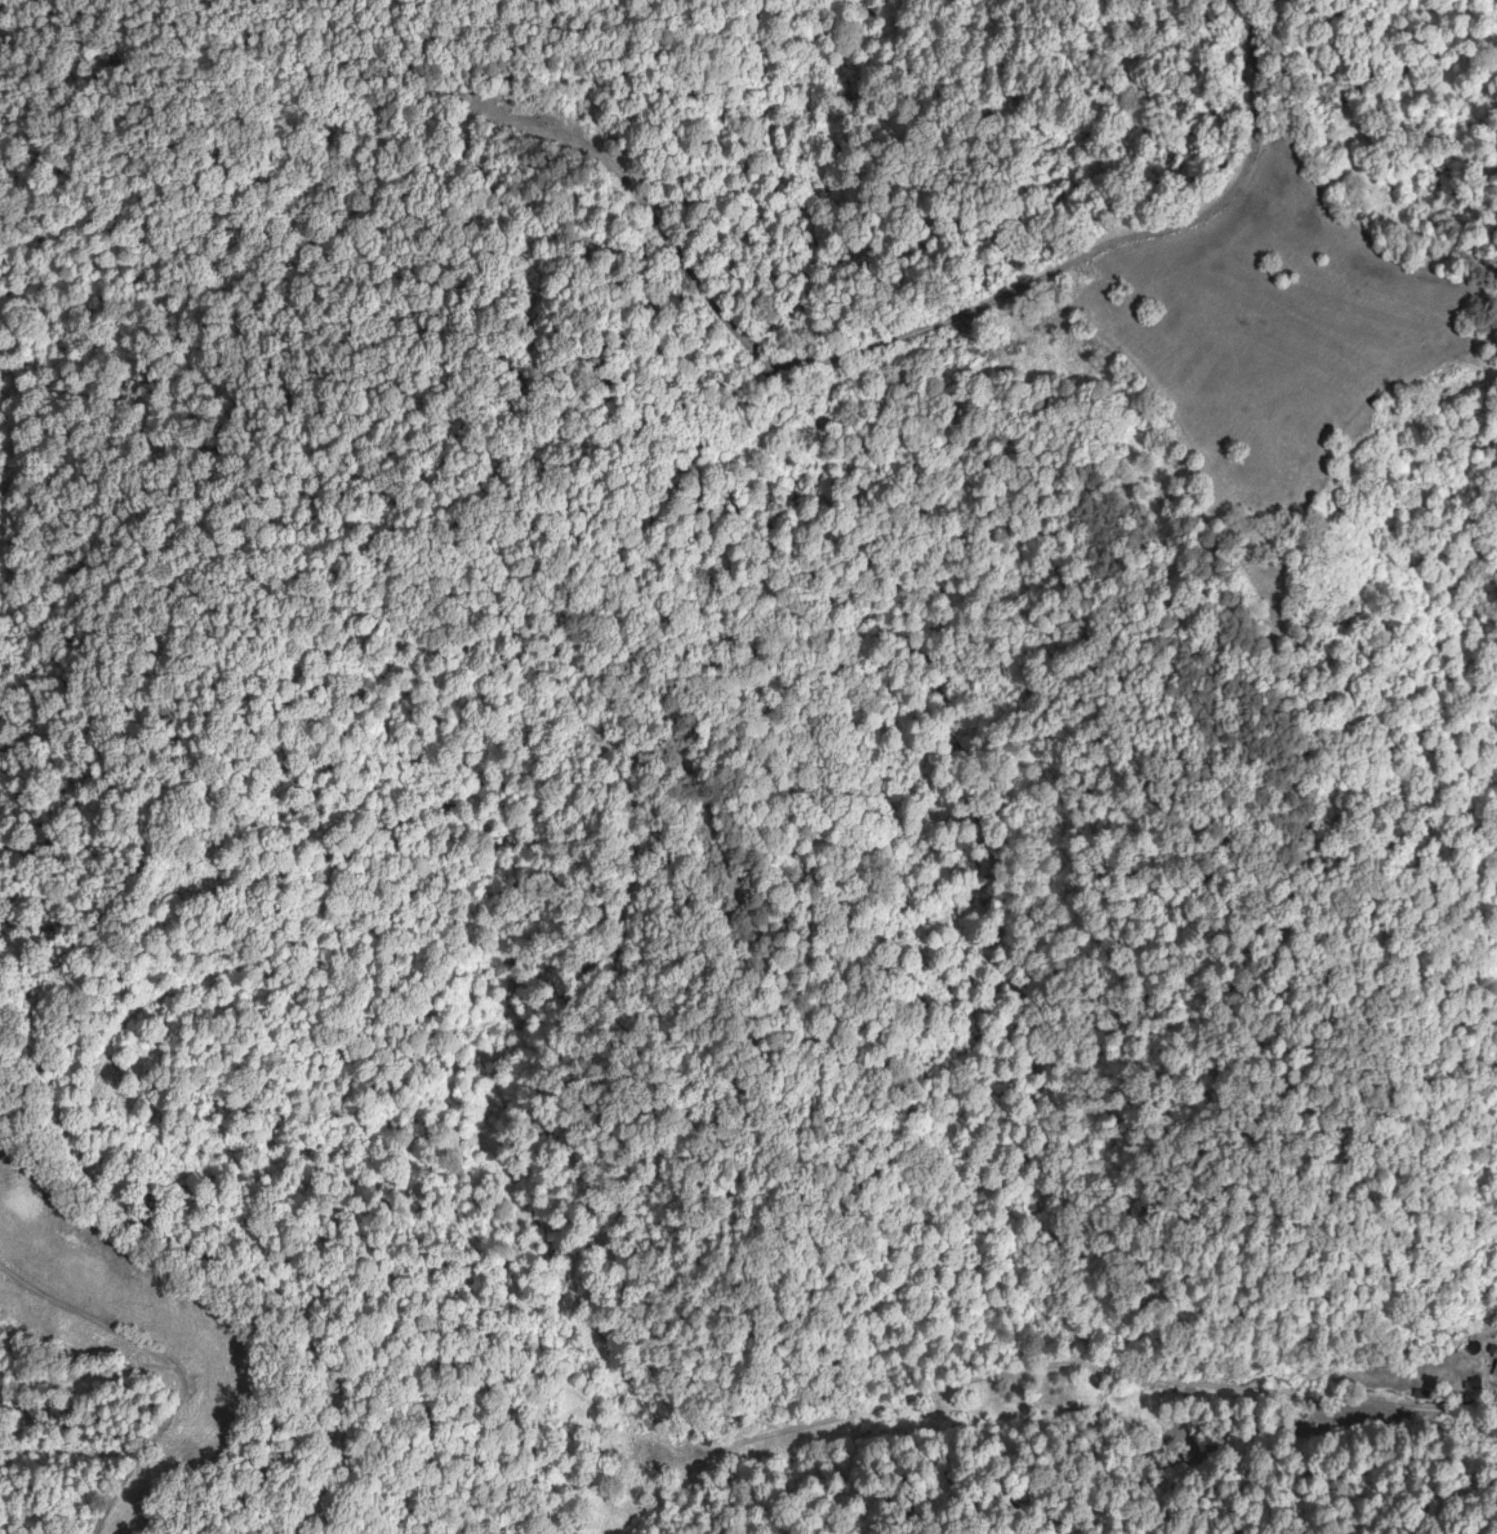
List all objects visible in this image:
road: (580, 441)
building: (1495, 1352)
road: (1137, 1367)
road: (152, 1377)

